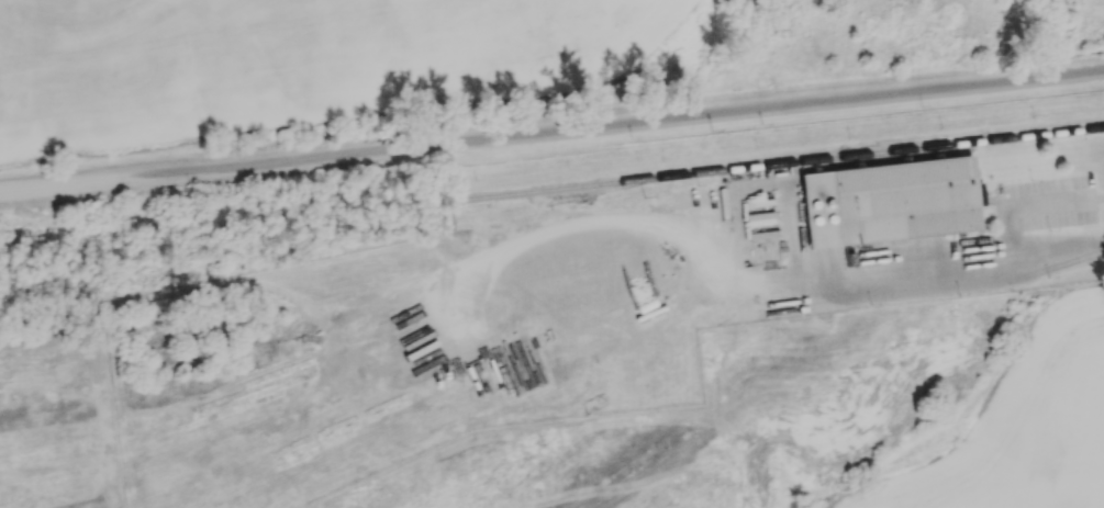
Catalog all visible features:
crop: (285, 59)
road: (551, 135)
railway: (785, 165)
road: (790, 185)
building: (886, 201)
road: (718, 203)
road: (1037, 203)
road: (655, 204)
road: (646, 222)
road: (671, 226)
road: (605, 233)
road: (695, 237)
road: (788, 237)
road: (1010, 237)
road: (524, 242)
road: (661, 242)
road: (676, 255)
road: (938, 258)
road: (1059, 258)
road: (915, 261)
road: (747, 269)
road: (830, 269)
road: (816, 271)
road: (978, 279)
building: (583, 281)
road: (929, 284)
road: (876, 290)
road: (806, 291)
road: (826, 293)

